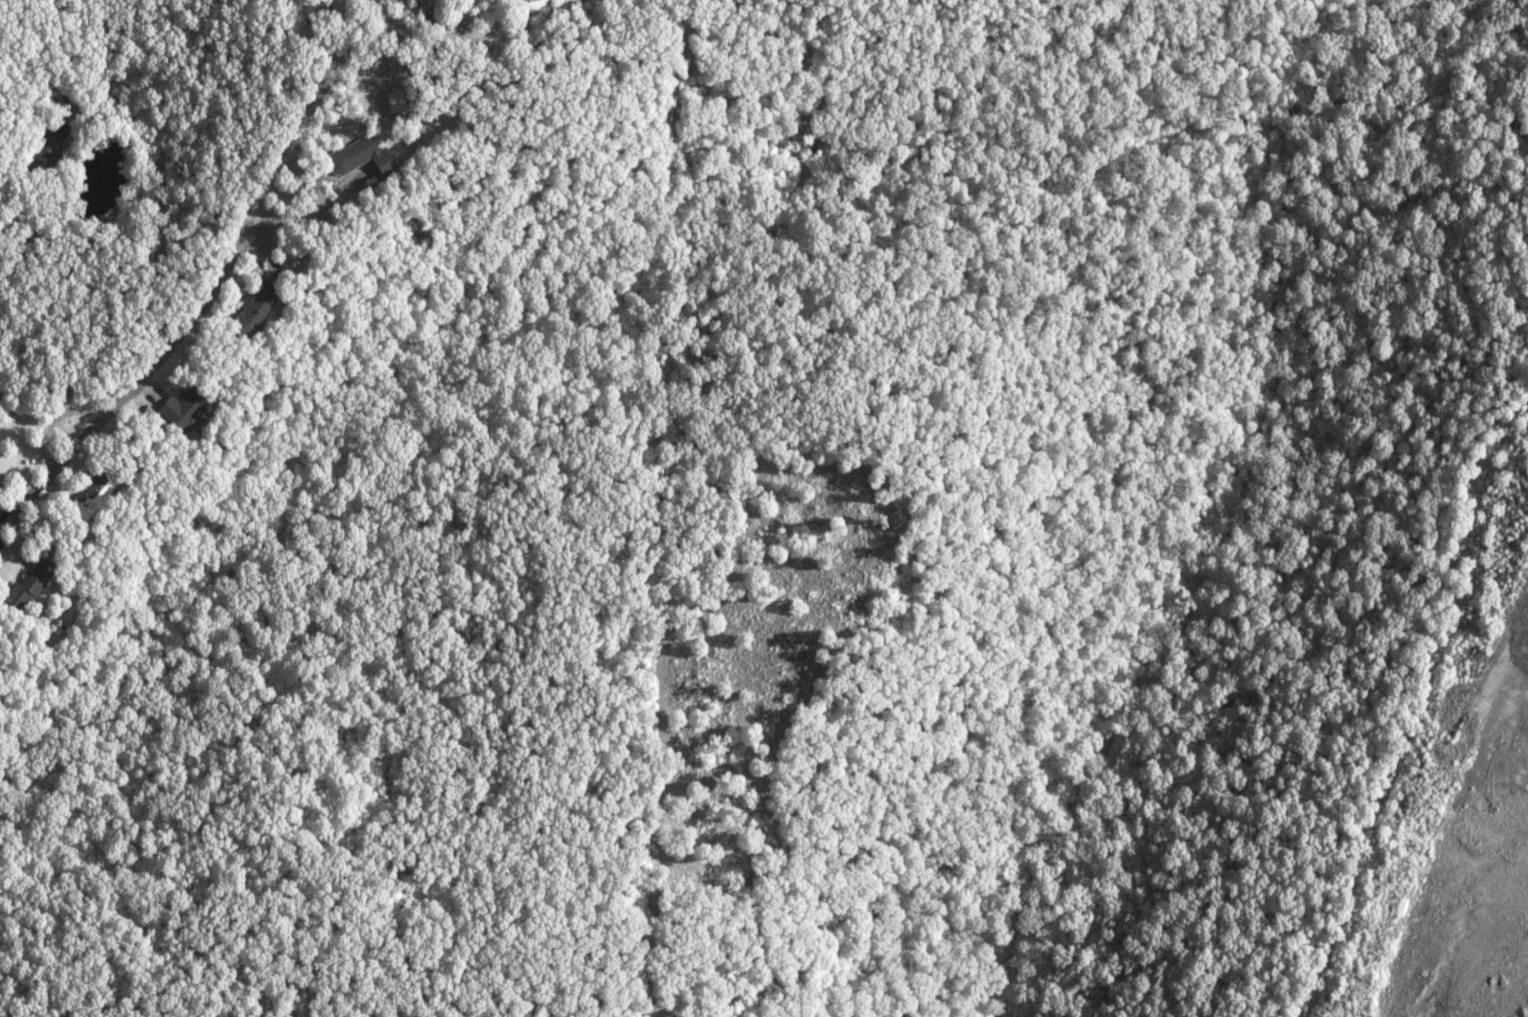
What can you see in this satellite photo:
building: (352, 157)
road: (156, 194)
building: (247, 314)
road: (192, 319)
building: (187, 404)
building: (35, 581)
quarry: (1443, 856)

